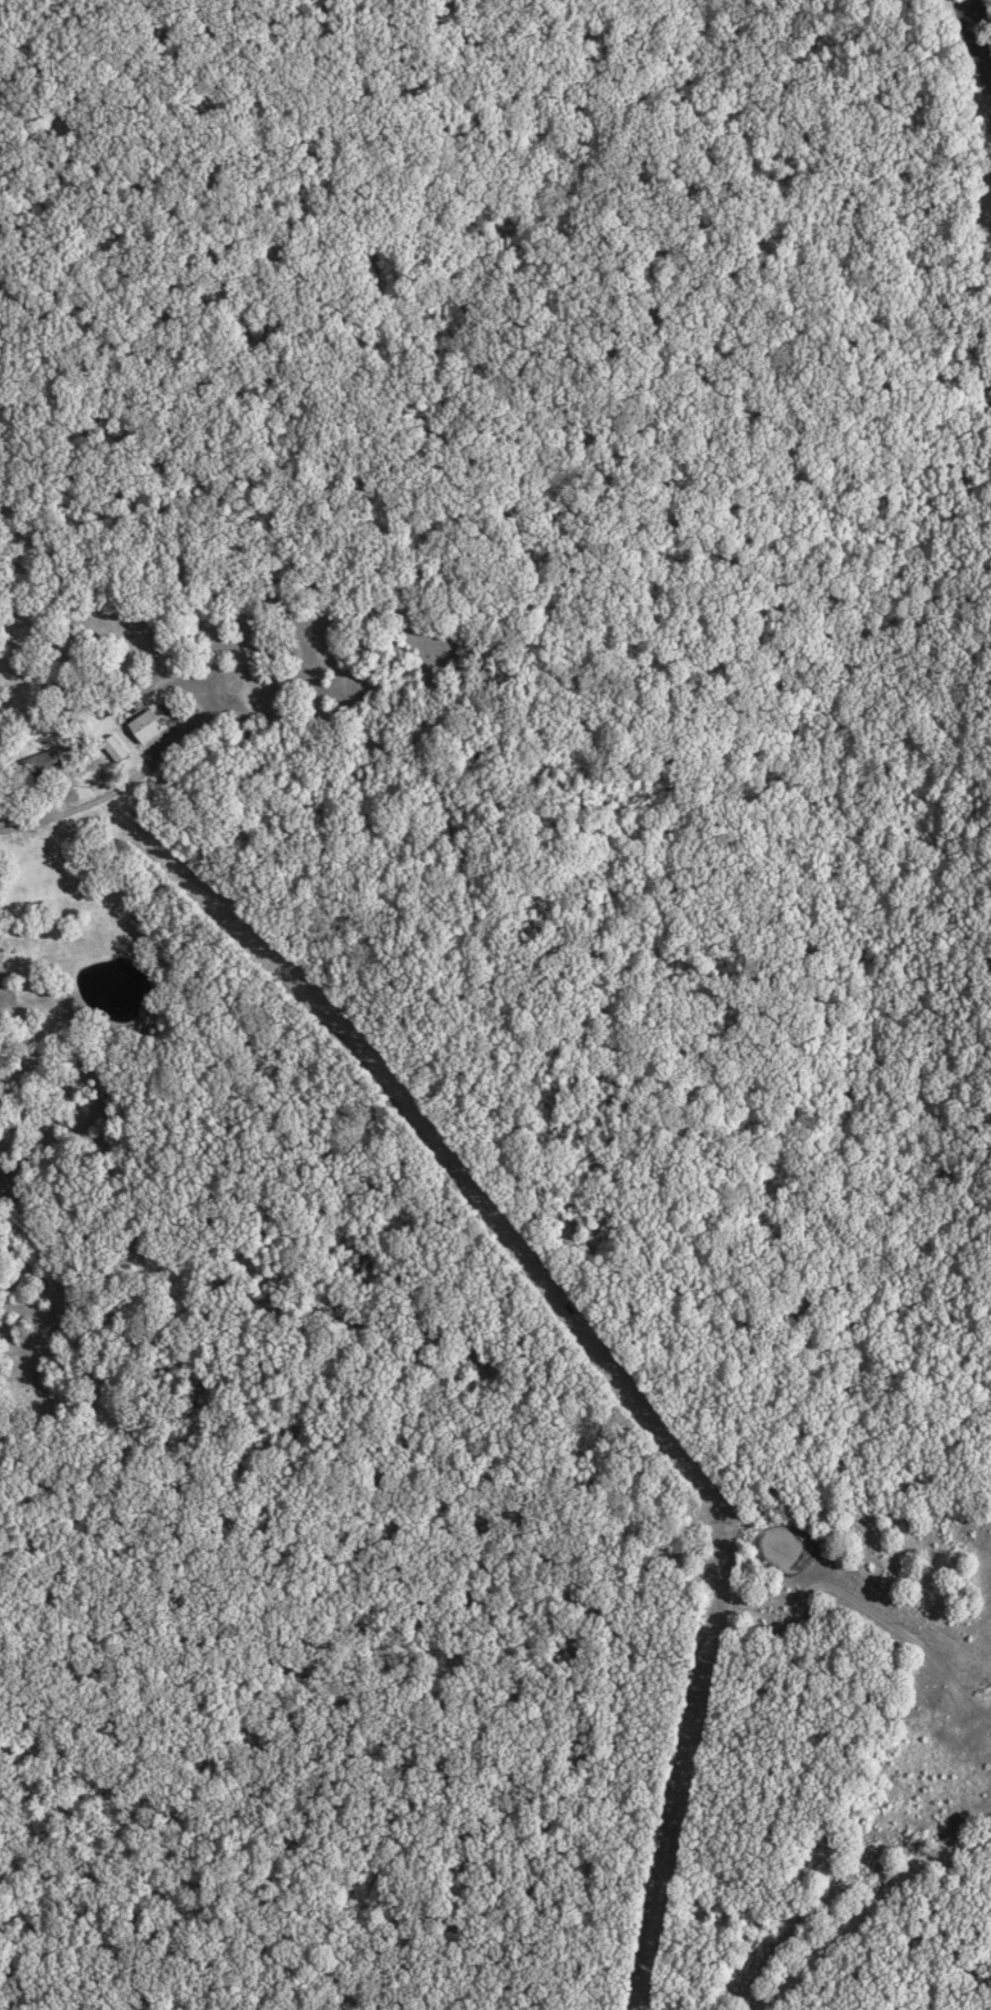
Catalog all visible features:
building: (147, 728)
building: (116, 750)
building: (44, 766)
road: (866, 1913)

